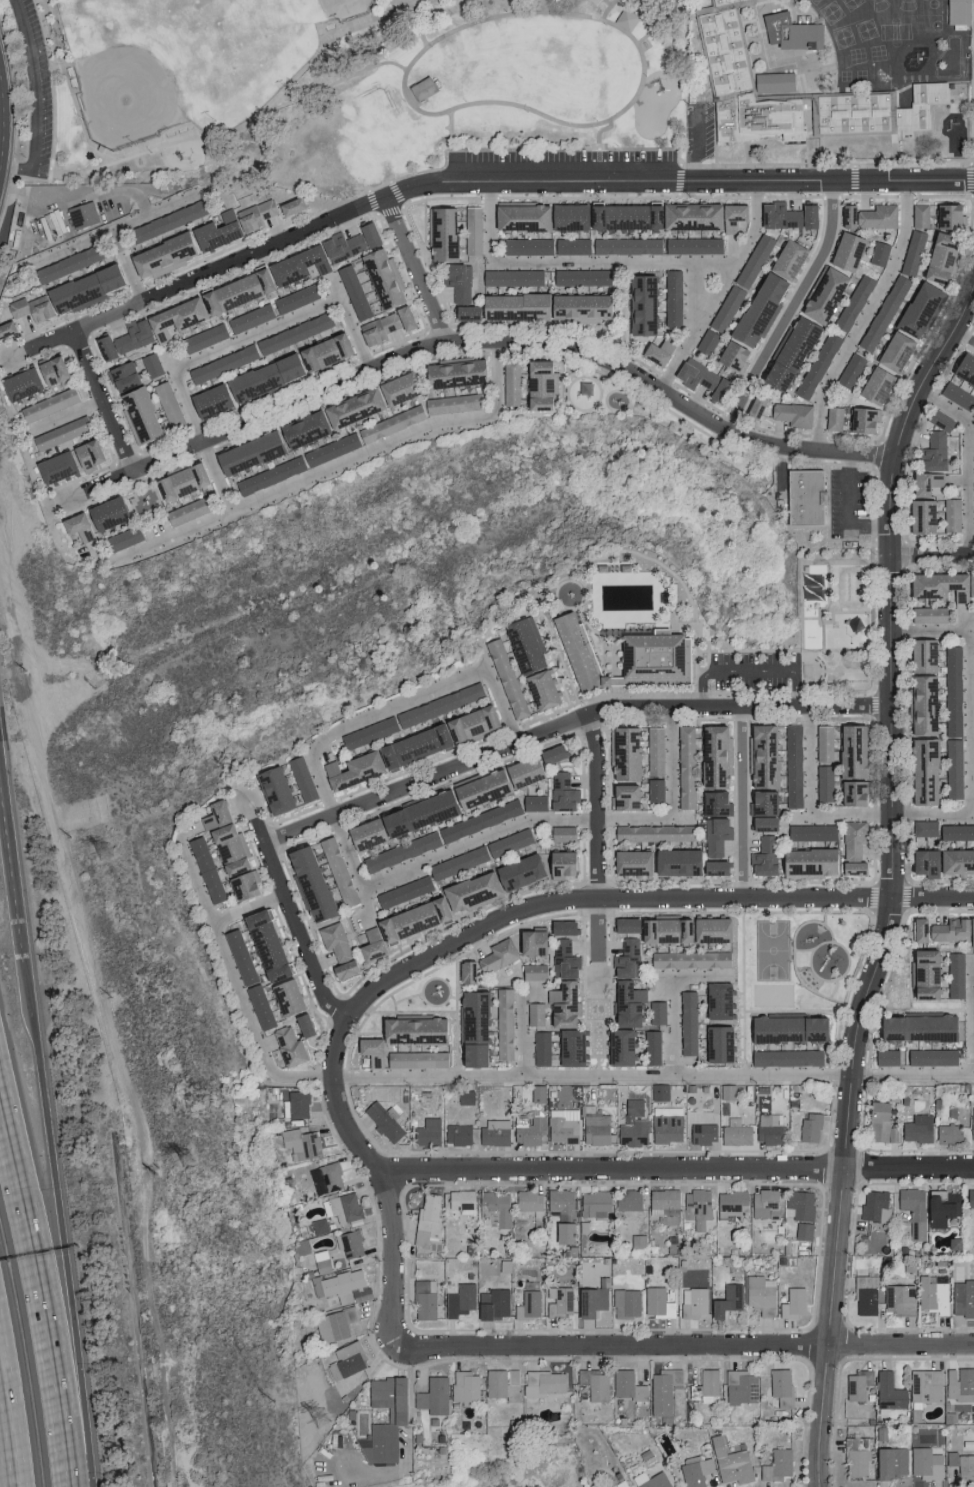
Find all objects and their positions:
road: (610, 10)
park: (307, 13)
building: (962, 16)
road: (661, 24)
road: (612, 25)
road: (418, 27)
building: (798, 40)
park: (167, 63)
parking lot: (42, 84)
park: (339, 86)
building: (780, 87)
building: (804, 99)
road: (44, 105)
road: (2, 120)
road: (250, 122)
parking lot: (704, 133)
road: (453, 149)
road: (601, 149)
road: (701, 149)
parking lot: (567, 161)
road: (487, 186)
building: (85, 215)
building: (784, 215)
building: (918, 215)
building: (846, 216)
building: (876, 216)
building: (945, 216)
building: (573, 217)
building: (701, 217)
building: (171, 221)
building: (471, 230)
building: (441, 234)
building: (693, 245)
building: (546, 246)
building: (627, 246)
building: (843, 252)
building: (912, 252)
building: (878, 254)
building: (168, 256)
building: (785, 259)
building: (753, 260)
building: (936, 260)
road: (617, 262)
road: (418, 273)
building: (513, 277)
building: (579, 277)
building: (380, 278)
building: (458, 281)
building: (234, 291)
building: (68, 292)
building: (822, 295)
building: (672, 297)
building: (853, 303)
building: (639, 305)
building: (532, 308)
building: (726, 309)
building: (916, 309)
road: (791, 310)
building: (883, 313)
road: (866, 318)
building: (394, 320)
road: (698, 327)
building: (254, 334)
road: (964, 335)
road: (479, 341)
building: (706, 343)
building: (792, 343)
building: (892, 350)
building: (654, 352)
building: (731, 358)
building: (150, 364)
building: (816, 366)
building: (963, 369)
building: (849, 371)
building: (268, 374)
building: (453, 374)
building: (698, 378)
building: (771, 378)
building: (29, 379)
building: (510, 383)
building: (873, 384)
building: (535, 385)
building: (956, 395)
road: (105, 400)
building: (367, 401)
building: (167, 404)
building: (973, 404)
building: (46, 405)
building: (754, 408)
building: (791, 414)
building: (832, 418)
building: (861, 419)
building: (58, 433)
power tower: (3, 442)
building: (267, 443)
building: (969, 443)
building: (933, 444)
building: (64, 462)
road: (968, 462)
building: (179, 480)
road: (215, 481)
building: (922, 483)
building: (802, 497)
building: (973, 502)
road: (849, 512)
building: (951, 515)
building: (918, 517)
building: (89, 520)
building: (121, 539)
road: (933, 559)
building: (940, 586)
building: (926, 615)
road: (933, 632)
building: (523, 646)
building: (574, 652)
building: (919, 654)
road: (485, 658)
building: (648, 659)
road: (753, 668)
building: (505, 679)
building: (538, 690)
building: (953, 690)
building: (920, 703)
road: (387, 706)
building: (823, 743)
building: (410, 744)
building: (849, 749)
building: (654, 750)
building: (621, 751)
building: (549, 753)
building: (715, 755)
building: (760, 755)
road: (480, 760)
road: (813, 763)
road: (673, 764)
building: (793, 765)
building: (684, 766)
building: (953, 768)
building: (921, 769)
building: (520, 771)
building: (302, 777)
building: (824, 783)
building: (656, 789)
building: (562, 791)
building: (851, 791)
road: (973, 794)
building: (620, 796)
building: (452, 797)
building: (713, 801)
building: (764, 801)
road: (746, 804)
road: (600, 807)
building: (760, 822)
road: (255, 823)
road: (512, 827)
building: (923, 827)
building: (812, 831)
building: (956, 831)
building: (652, 832)
building: (560, 833)
building: (715, 836)
road: (15, 837)
building: (852, 839)
power tower: (111, 850)
building: (227, 851)
building: (920, 860)
building: (955, 860)
building: (662, 861)
building: (805, 861)
building: (558, 862)
building: (852, 867)
building: (336, 869)
road: (354, 871)
building: (515, 871)
road: (894, 881)
building: (468, 891)
road: (249, 904)
building: (621, 924)
building: (395, 926)
building: (558, 926)
building: (943, 929)
road: (471, 936)
building: (665, 937)
road: (598, 943)
building: (334, 947)
building: (563, 958)
building: (690, 958)
building: (529, 971)
building: (920, 972)
road: (235, 973)
building: (954, 974)
road: (695, 976)
building: (284, 996)
building: (716, 999)
building: (624, 1002)
building: (562, 1003)
building: (656, 1012)
building: (534, 1013)
building: (687, 1022)
building: (503, 1023)
road: (674, 1026)
building: (914, 1026)
building: (786, 1028)
road: (523, 1037)
building: (716, 1042)
building: (287, 1046)
building: (371, 1046)
building: (567, 1046)
building: (616, 1046)
building: (651, 1046)
building: (541, 1048)
building: (468, 1053)
building: (886, 1056)
building: (931, 1056)
building: (786, 1057)
road: (653, 1075)
building: (659, 1091)
building: (537, 1093)
building: (464, 1096)
building: (297, 1104)
building: (385, 1116)
building: (632, 1124)
building: (879, 1124)
building: (972, 1124)
building: (562, 1126)
building: (810, 1127)
building: (666, 1128)
building: (768, 1128)
building: (916, 1128)
building: (595, 1129)
building: (425, 1130)
building: (530, 1131)
building: (490, 1132)
building: (703, 1132)
building: (734, 1132)
building: (948, 1133)
building: (456, 1134)
building: (300, 1143)
power tower: (197, 1156)
road: (675, 1169)
building: (325, 1178)
building: (969, 1198)
building: (461, 1199)
building: (629, 1200)
building: (663, 1201)
building: (561, 1202)
building: (594, 1202)
building: (531, 1203)
building: (765, 1204)
building: (731, 1205)
building: (799, 1205)
building: (875, 1205)
building: (941, 1206)
building: (344, 1207)
building: (696, 1207)
building: (913, 1208)
building: (495, 1209)
building: (428, 1213)
road: (62, 1222)
building: (803, 1231)
building: (562, 1232)
building: (637, 1241)
building: (346, 1245)
building: (318, 1261)
road: (46, 1277)
building: (336, 1282)
building: (361, 1294)
building: (759, 1294)
building: (865, 1295)
building: (962, 1298)
building: (899, 1299)
building: (459, 1300)
building: (558, 1300)
building: (725, 1300)
building: (589, 1301)
building: (530, 1302)
building: (656, 1302)
building: (792, 1302)
building: (492, 1303)
building: (625, 1303)
building: (694, 1303)
building: (333, 1324)
road: (692, 1345)
building: (347, 1358)
building: (543, 1382)
building: (501, 1383)
building: (594, 1384)
building: (857, 1384)
building: (960, 1384)
building: (626, 1385)
building: (707, 1385)
building: (924, 1385)
building: (464, 1386)
building: (739, 1386)
building: (780, 1386)
building: (662, 1388)
building: (888, 1391)
building: (431, 1397)
building: (395, 1415)
power tower: (326, 1417)
road: (10, 1423)
building: (899, 1461)
building: (730, 1462)
building: (880, 1463)
building: (925, 1463)
building: (777, 1465)
building: (962, 1465)
building: (695, 1472)
building: (651, 1480)
building: (624, 1485)

